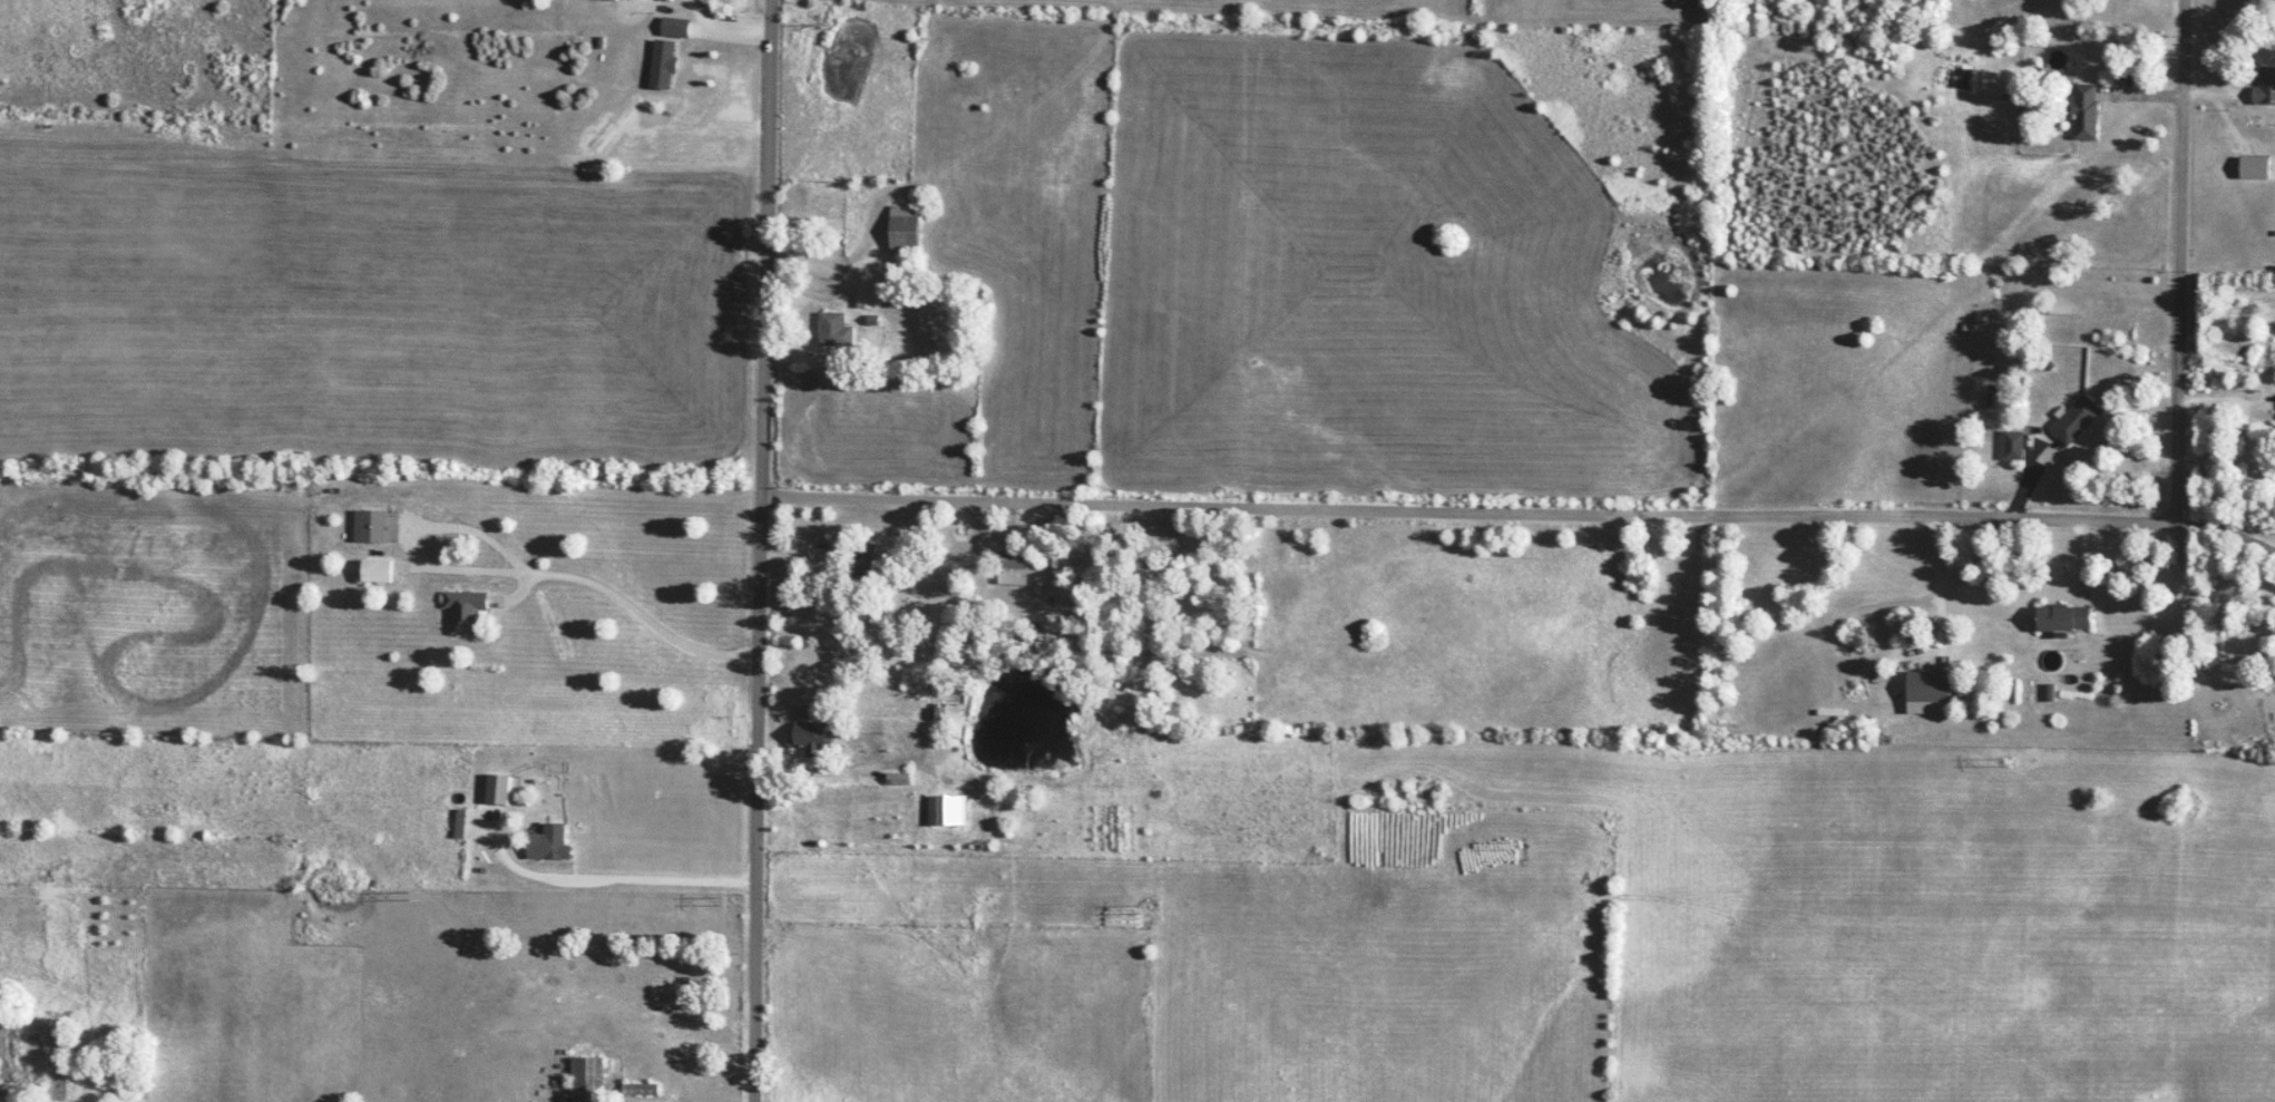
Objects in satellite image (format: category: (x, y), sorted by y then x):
building: (662, 66)
building: (2264, 88)
building: (2083, 113)
building: (2253, 169)
building: (904, 231)
road: (2177, 260)
building: (865, 296)
building: (833, 331)
building: (2074, 421)
building: (2012, 447)
road: (1467, 510)
building: (369, 527)
road: (2224, 532)
road: (762, 550)
building: (377, 572)
building: (463, 613)
road: (644, 616)
building: (2062, 618)
building: (2235, 676)
building: (1927, 687)
building: (810, 744)
power tower: (1993, 764)
road: (833, 771)
building: (498, 789)
building: (947, 811)
building: (459, 823)
building: (554, 835)
power tower: (1511, 845)
road: (605, 876)
power tower: (406, 901)
power tower: (719, 903)
power tower: (1150, 913)
building: (588, 1079)
building: (648, 1090)

